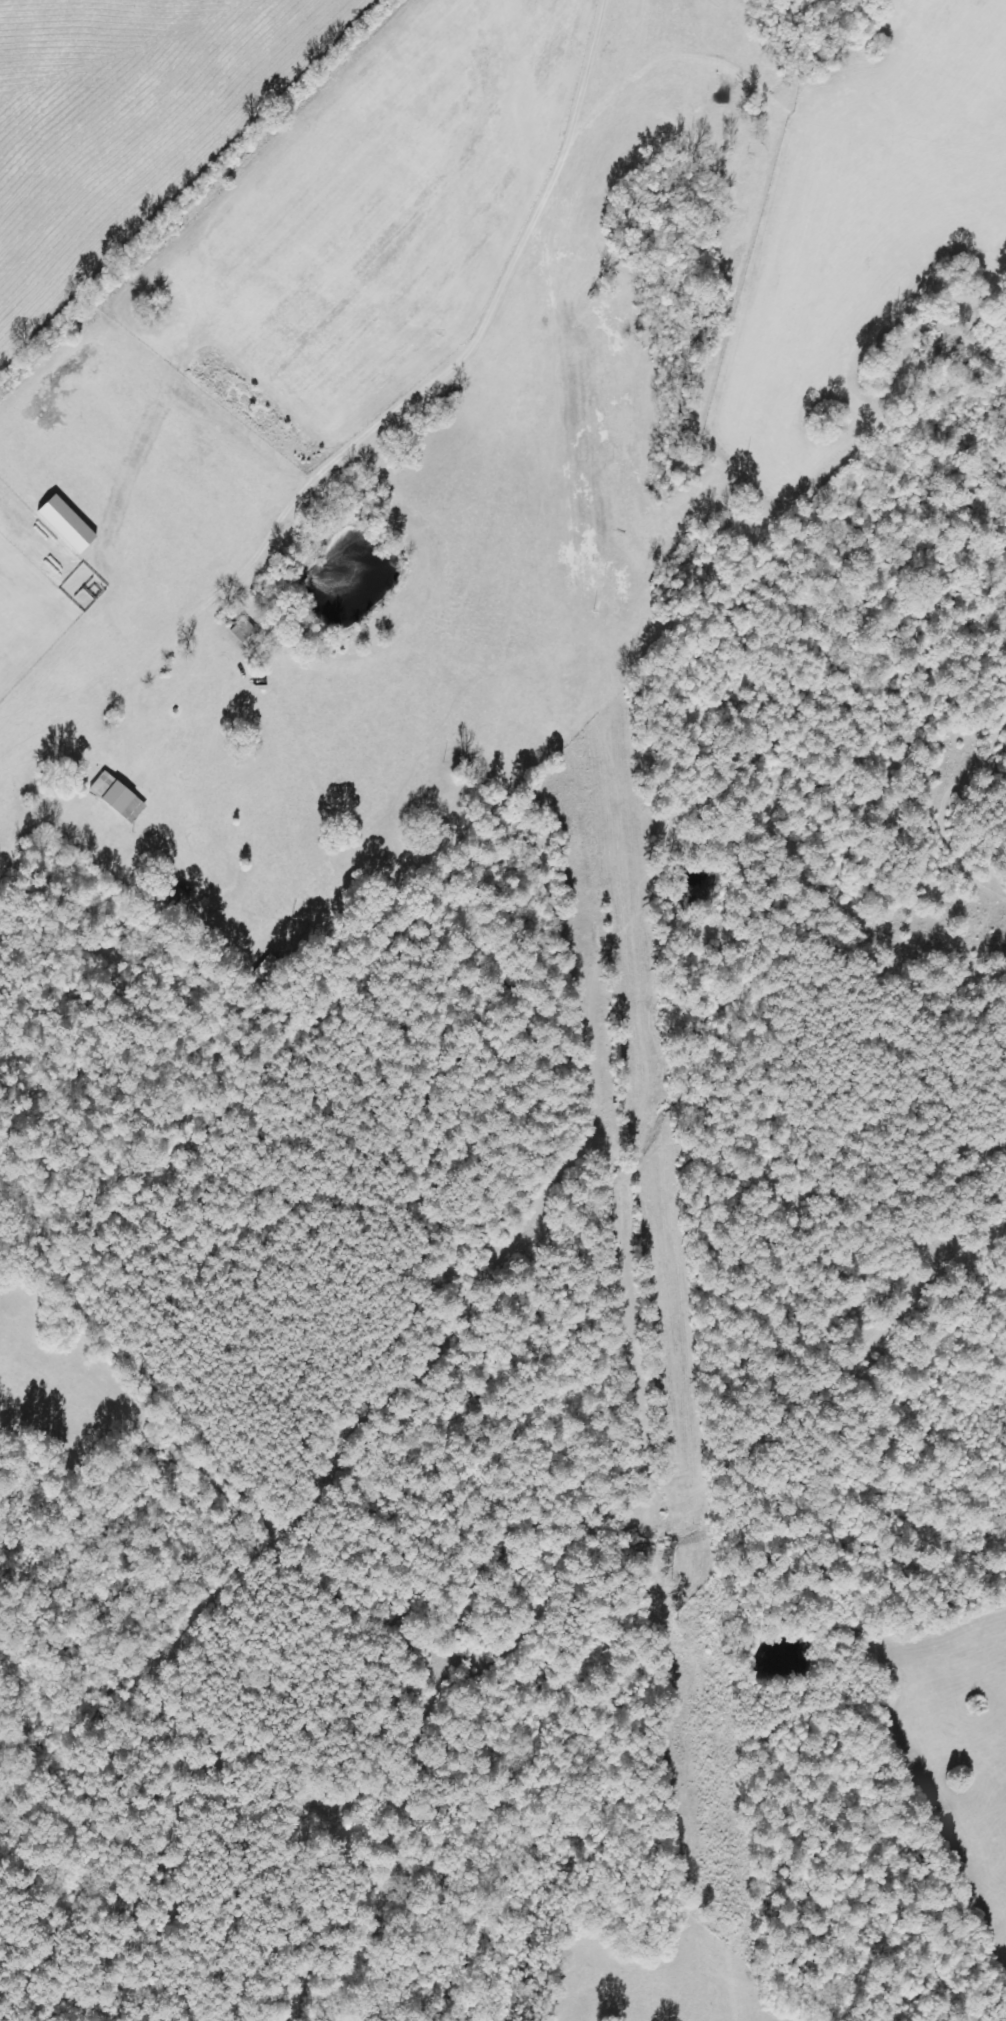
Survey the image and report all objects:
building: (71, 523)
building: (121, 797)

